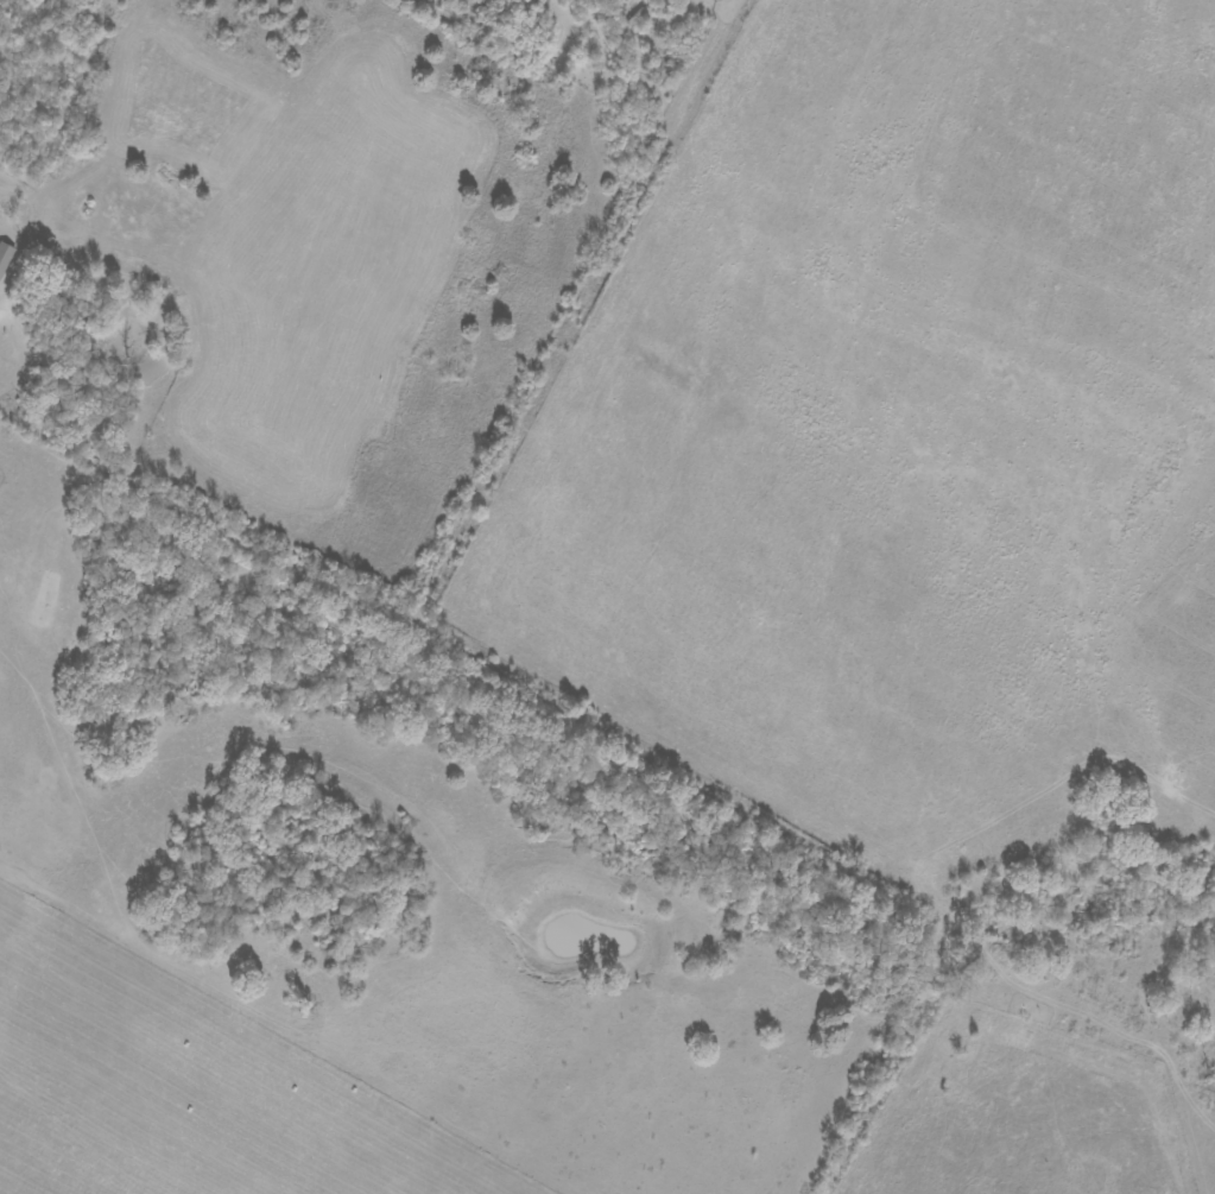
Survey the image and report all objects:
road: (2, 311)
road: (599, 340)
road: (226, 549)
road: (792, 890)

